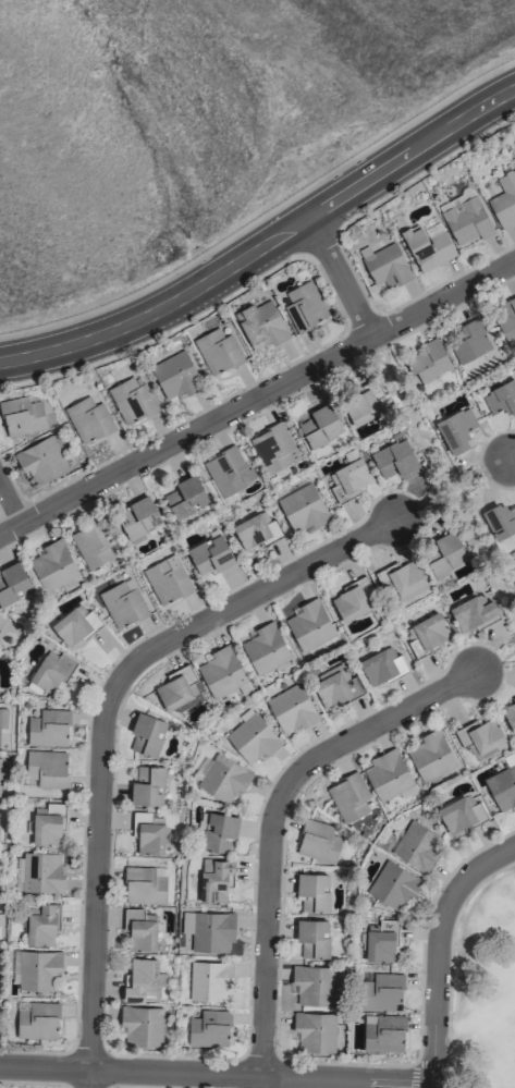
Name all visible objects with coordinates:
building: (504, 200)
building: (465, 220)
road: (265, 246)
building: (428, 246)
building: (385, 266)
road: (342, 277)
building: (304, 306)
building: (506, 319)
building: (260, 325)
building: (470, 341)
building: (217, 351)
building: (429, 360)
building: (175, 376)
building: (501, 398)
road: (258, 399)
building: (131, 401)
building: (360, 407)
building: (21, 416)
building: (87, 419)
building: (320, 426)
building: (455, 430)
building: (273, 449)
road: (514, 455)
building: (41, 459)
building: (393, 459)
building: (226, 472)
building: (351, 472)
park: (444, 480)
road: (439, 482)
road: (454, 484)
building: (185, 497)
road: (9, 504)
building: (302, 509)
building: (137, 517)
building: (500, 519)
building: (256, 530)
building: (94, 543)
building: (444, 552)
building: (209, 554)
building: (52, 565)
building: (403, 579)
building: (167, 580)
building: (12, 583)
building: (122, 603)
building: (350, 603)
building: (471, 612)
building: (1, 621)
building: (74, 624)
building: (309, 625)
building: (428, 632)
building: (265, 648)
park: (507, 650)
road: (494, 659)
building: (380, 667)
building: (51, 672)
building: (221, 672)
building: (331, 687)
building: (173, 692)
building: (291, 708)
road: (103, 709)
building: (510, 716)
building: (2, 718)
building: (48, 729)
building: (146, 734)
building: (480, 735)
building: (252, 737)
building: (429, 756)
building: (0, 757)
building: (46, 769)
building: (387, 774)
building: (222, 778)
building: (149, 784)
building: (503, 785)
building: (348, 797)
building: (458, 815)
road: (269, 817)
building: (47, 824)
building: (216, 831)
building: (148, 833)
building: (318, 841)
building: (416, 846)
building: (41, 872)
building: (144, 884)
building: (392, 884)
building: (312, 892)
building: (41, 926)
building: (139, 929)
building: (208, 930)
building: (312, 938)
building: (380, 941)
road: (437, 949)
building: (38, 969)
building: (140, 979)
building: (210, 980)
building: (312, 985)
park: (483, 988)
building: (380, 991)
building: (37, 1020)
building: (140, 1026)
building: (209, 1028)
building: (314, 1031)
building: (382, 1032)
road: (214, 1074)
road: (87, 1079)
road: (259, 1081)

